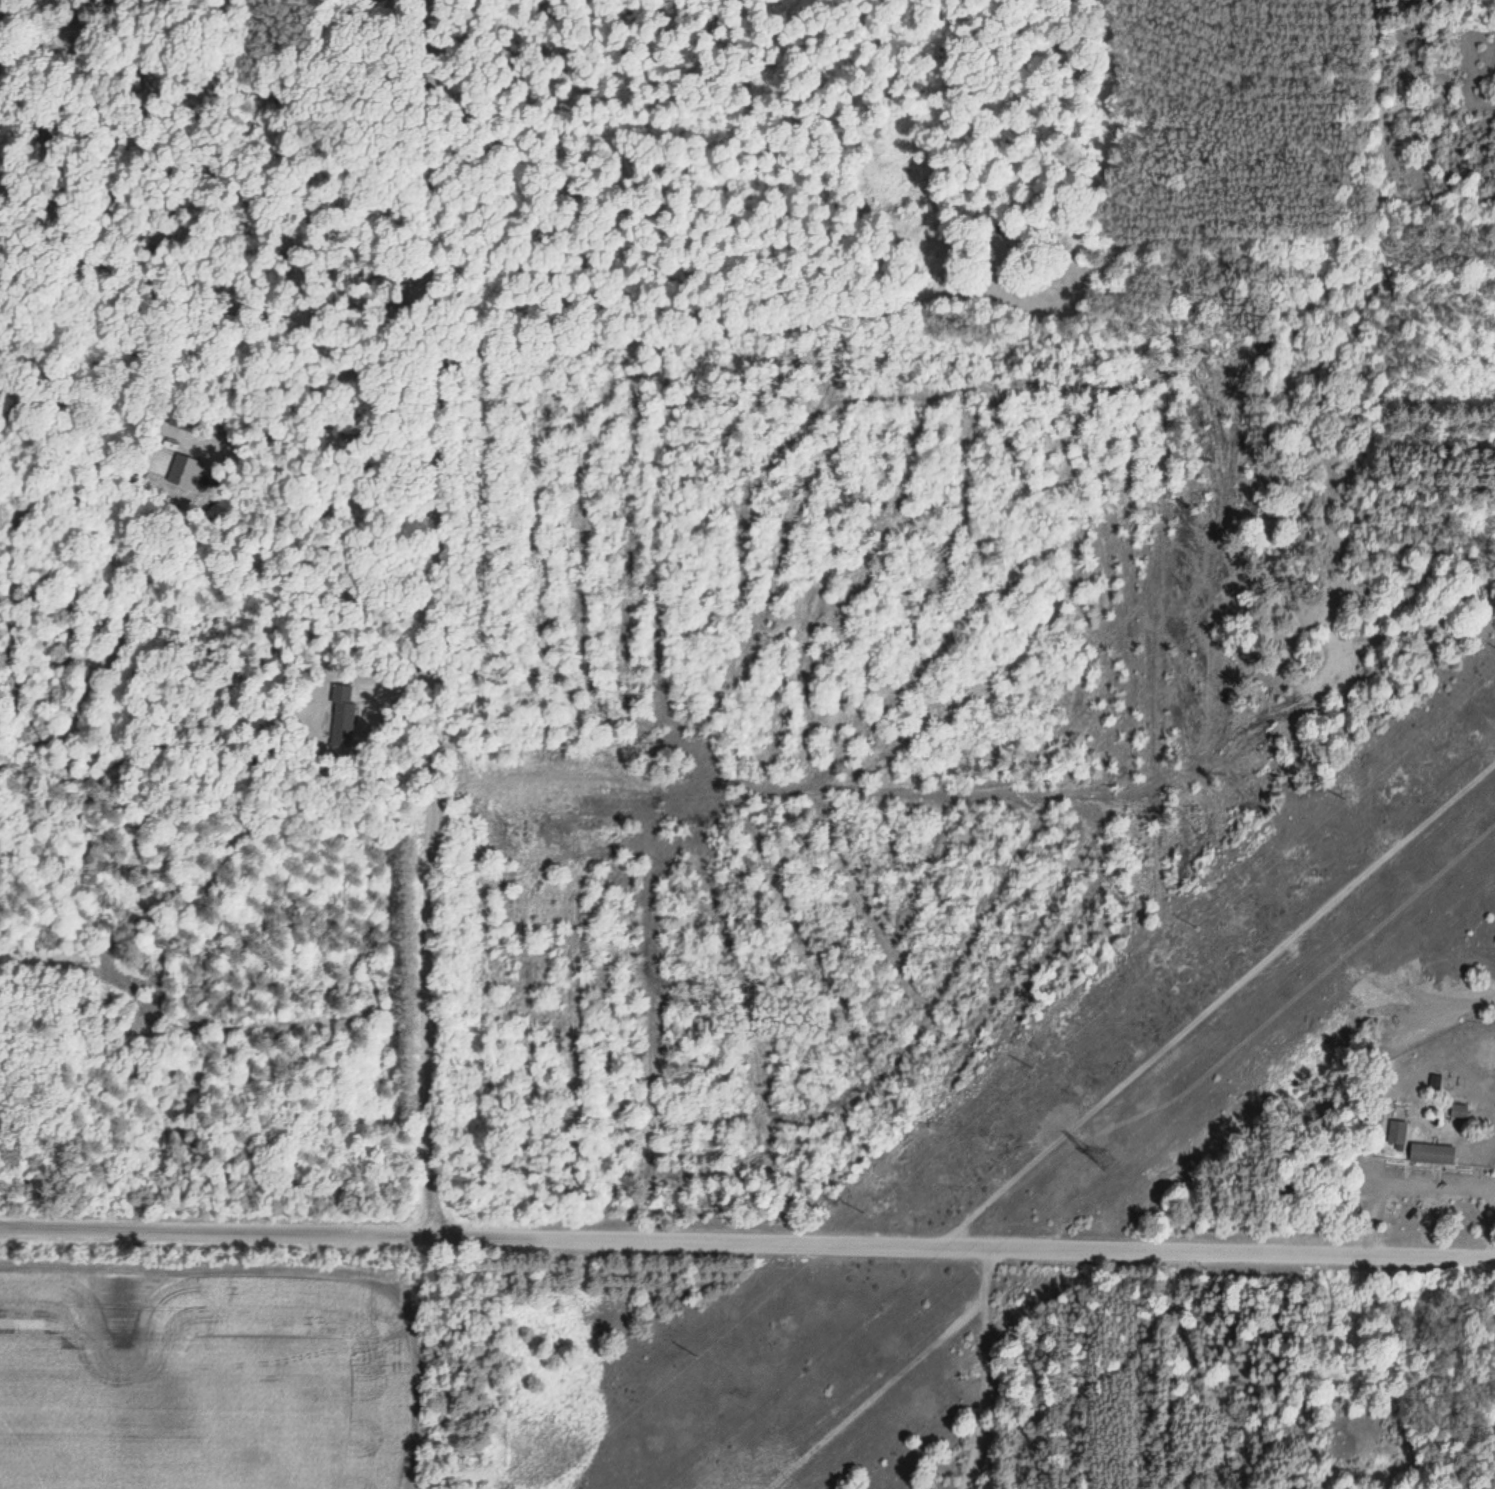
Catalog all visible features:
road: (432, 617)
building: (1457, 1111)
building: (1431, 1154)
power tower: (1105, 1161)
road: (747, 1240)

